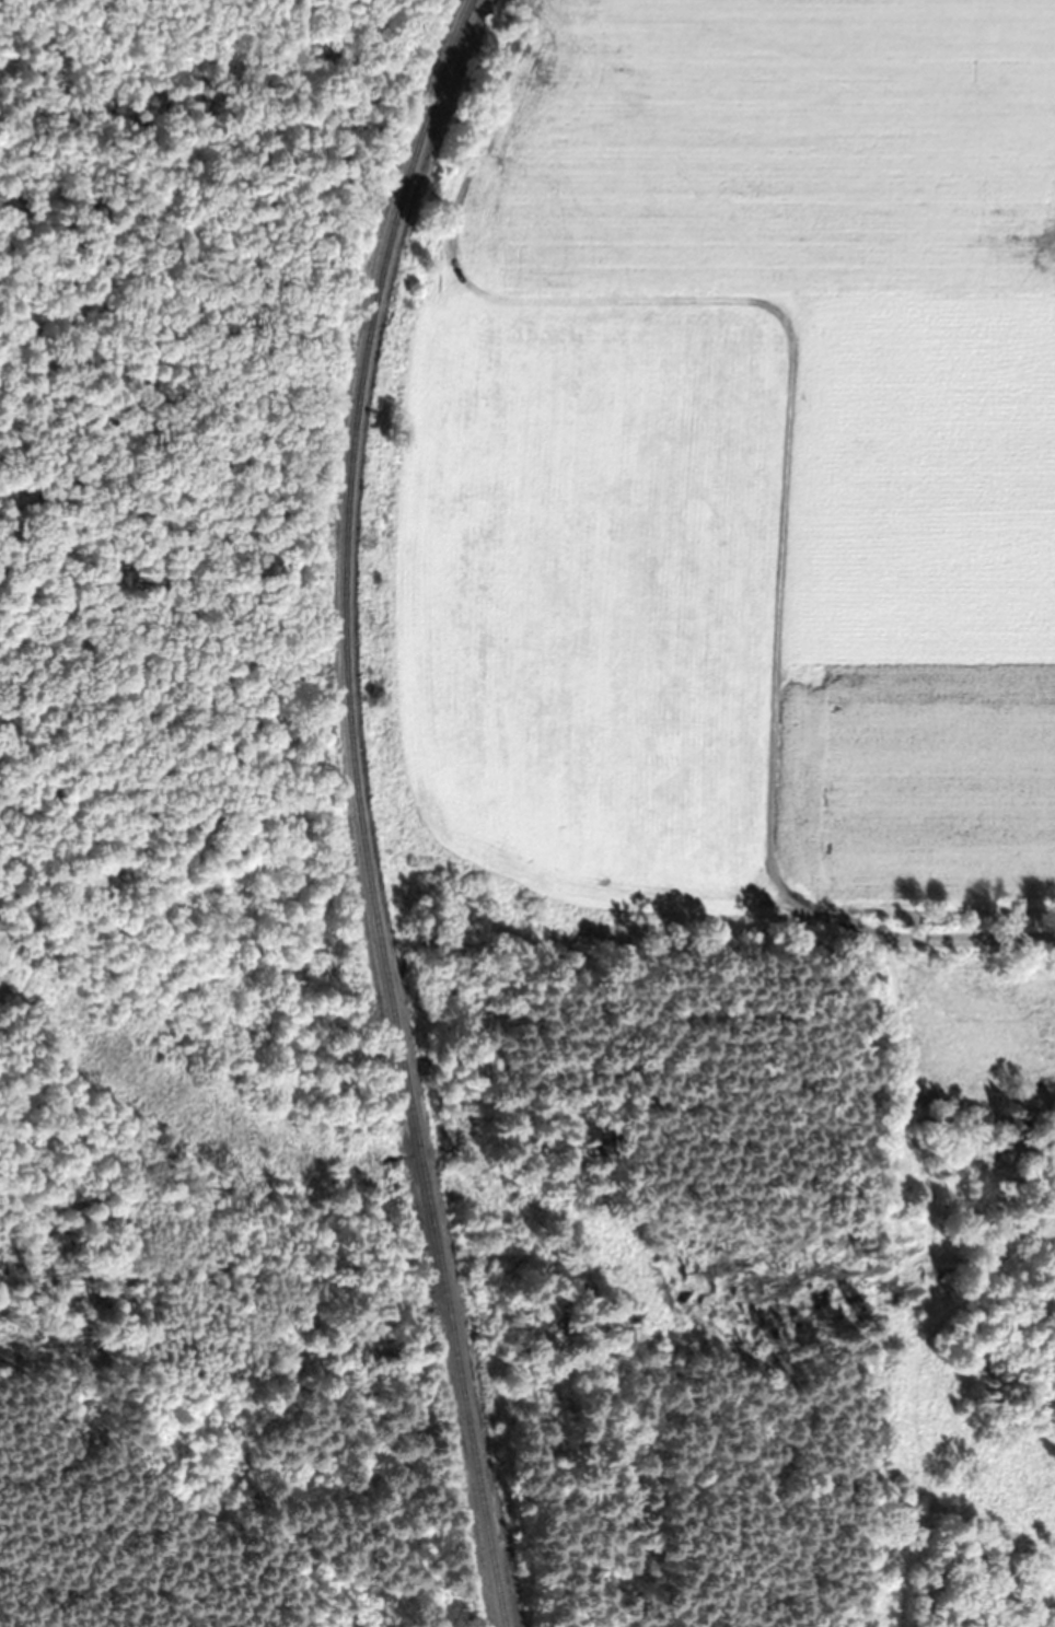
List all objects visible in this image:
railway: (357, 811)
road: (962, 932)

